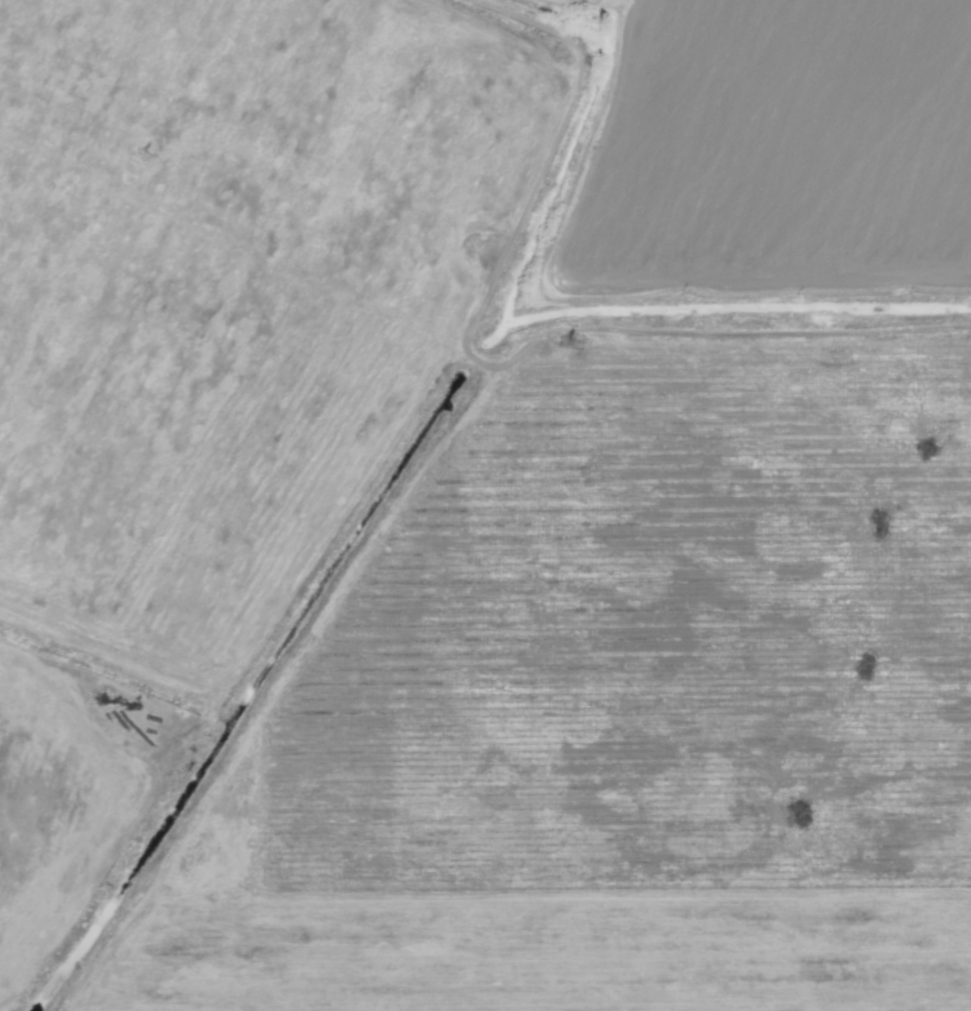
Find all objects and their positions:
crop: (776, 151)
power tower: (152, 162)
road: (550, 324)
power tower: (560, 348)

